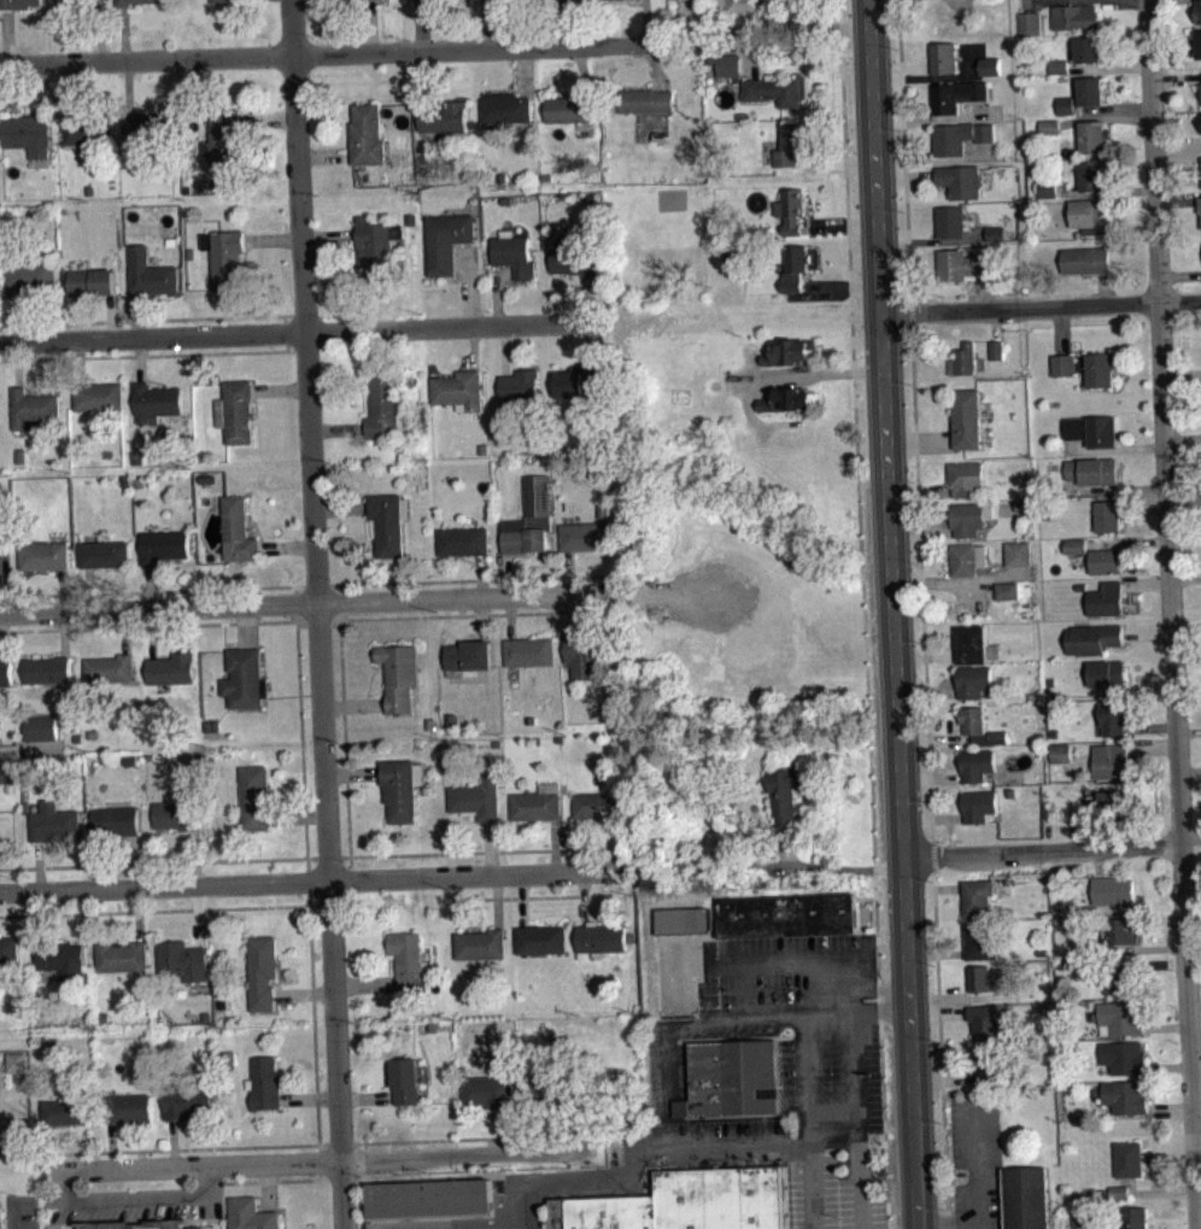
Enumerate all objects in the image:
building: (222, 0)
road: (1038, 0)
building: (134, 1)
building: (75, 2)
building: (628, 2)
building: (684, 2)
building: (18, 4)
building: (371, 4)
building: (742, 4)
building: (493, 8)
building: (1199, 11)
building: (1074, 16)
road: (646, 21)
road: (574, 22)
building: (1030, 23)
road: (488, 24)
road: (772, 24)
road: (420, 25)
road: (371, 27)
road: (99, 30)
road: (125, 34)
road: (6, 36)
building: (1199, 41)
road: (796, 43)
building: (1089, 47)
road: (323, 54)
building: (944, 55)
building: (728, 63)
road: (655, 64)
road: (1176, 64)
building: (990, 65)
building: (1059, 65)
road: (1109, 65)
road: (581, 69)
road: (525, 71)
building: (991, 74)
building: (1059, 74)
road: (426, 77)
road: (926, 77)
road: (1176, 80)
road: (127, 87)
building: (1200, 87)
road: (41, 88)
building: (779, 88)
building: (1092, 88)
road: (69, 89)
building: (956, 95)
building: (646, 99)
building: (1066, 104)
building: (508, 105)
road: (978, 106)
road: (1113, 106)
building: (572, 107)
building: (1066, 113)
building: (444, 116)
road: (936, 117)
road: (1105, 117)
building: (1200, 118)
road: (269, 119)
building: (147, 125)
building: (1048, 127)
building: (86, 130)
building: (28, 133)
building: (367, 134)
building: (1050, 134)
building: (960, 135)
building: (1092, 136)
building: (225, 140)
building: (790, 141)
road: (1177, 144)
road: (903, 150)
road: (326, 154)
road: (1176, 154)
road: (938, 158)
road: (838, 162)
building: (1094, 175)
road: (906, 176)
building: (960, 180)
building: (1047, 188)
road: (1105, 192)
road: (1173, 197)
building: (1200, 204)
building: (793, 209)
building: (1090, 216)
building: (950, 220)
road: (838, 224)
road: (1132, 227)
building: (995, 233)
road: (330, 236)
road: (274, 238)
building: (447, 240)
road: (932, 241)
building: (376, 247)
building: (514, 252)
building: (727, 253)
building: (225, 256)
building: (1086, 258)
building: (574, 261)
building: (965, 263)
building: (795, 267)
building: (150, 273)
building: (28, 274)
road: (1179, 275)
building: (93, 281)
road: (470, 285)
road: (840, 285)
road: (1105, 287)
road: (850, 288)
road: (497, 292)
road: (986, 292)
road: (594, 299)
road: (1041, 306)
road: (910, 314)
road: (135, 315)
road: (109, 316)
road: (153, 318)
road: (16, 320)
road: (996, 324)
road: (1062, 329)
road: (286, 332)
road: (301, 332)
road: (588, 344)
road: (474, 347)
building: (997, 349)
road: (504, 350)
building: (789, 350)
road: (153, 355)
building: (998, 358)
road: (141, 359)
building: (963, 359)
road: (80, 361)
road: (17, 363)
building: (1086, 367)
road: (1182, 375)
road: (774, 376)
building: (576, 382)
building: (519, 387)
building: (459, 390)
road: (280, 391)
building: (98, 396)
building: (787, 399)
building: (157, 400)
building: (385, 406)
building: (33, 408)
building: (236, 411)
building: (968, 416)
road: (338, 428)
building: (1094, 429)
road: (1183, 439)
road: (921, 440)
road: (1119, 450)
road: (1183, 452)
road: (916, 455)
building: (1095, 469)
building: (967, 478)
road: (1126, 487)
road: (921, 492)
road: (1184, 497)
road: (1147, 498)
building: (1024, 503)
road: (341, 507)
building: (1109, 515)
building: (968, 517)
building: (529, 520)
building: (388, 521)
building: (238, 528)
road: (924, 532)
building: (586, 534)
building: (4, 536)
building: (464, 540)
road: (1127, 542)
building: (164, 545)
road: (287, 545)
building: (1076, 545)
building: (1018, 552)
building: (104, 554)
building: (1077, 554)
building: (43, 555)
building: (968, 558)
building: (1107, 560)
road: (568, 570)
road: (481, 574)
road: (508, 575)
road: (1185, 579)
road: (2, 580)
road: (938, 581)
road: (1147, 584)
road: (150, 585)
road: (309, 585)
road: (89, 589)
building: (1008, 589)
road: (61, 590)
building: (1008, 598)
building: (1108, 598)
road: (300, 601)
road: (292, 610)
road: (318, 614)
road: (476, 614)
road: (570, 614)
road: (894, 614)
road: (1171, 614)
road: (511, 615)
road: (482, 616)
road: (288, 620)
road: (317, 622)
road: (1187, 625)
road: (246, 626)
road: (125, 630)
road: (152, 631)
road: (1148, 631)
road: (63, 633)
road: (2, 636)
building: (1096, 637)
building: (971, 643)
building: (529, 649)
building: (470, 652)
building: (585, 652)
road: (926, 656)
road: (1187, 656)
building: (109, 667)
building: (171, 667)
building: (47, 668)
building: (5, 672)
building: (400, 673)
building: (1109, 675)
building: (245, 678)
building: (973, 680)
road: (1150, 686)
road: (928, 689)
road: (355, 704)
road: (926, 710)
building: (1113, 718)
building: (979, 725)
road: (344, 726)
building: (41, 727)
road: (1149, 728)
road: (1188, 731)
road: (937, 739)
road: (1, 749)
road: (1153, 749)
building: (1061, 751)
building: (1111, 761)
building: (976, 763)
road: (1189, 771)
road: (352, 772)
building: (6, 773)
road: (931, 778)
building: (7, 782)
building: (402, 788)
building: (257, 796)
building: (478, 796)
building: (785, 796)
building: (538, 801)
building: (599, 801)
building: (979, 804)
building: (1113, 804)
building: (177, 812)
road: (299, 815)
road: (935, 818)
building: (116, 819)
building: (53, 820)
road: (619, 841)
road: (555, 844)
road: (490, 845)
road: (787, 847)
road: (1053, 848)
road: (484, 850)
road: (932, 853)
road: (194, 856)
road: (134, 860)
road: (153, 862)
road: (40, 865)
road: (350, 866)
road: (832, 867)
road: (309, 879)
road: (935, 889)
road: (307, 890)
building: (1114, 890)
road: (520, 896)
road: (585, 896)
building: (978, 896)
road: (523, 897)
road: (497, 900)
road: (283, 903)
road: (875, 903)
road: (139, 912)
road: (198, 914)
building: (786, 914)
road: (42, 915)
building: (684, 919)
road: (1193, 921)
building: (1124, 930)
building: (541, 937)
building: (602, 937)
building: (482, 942)
building: (979, 942)
road: (1153, 947)
building: (10, 948)
road: (937, 954)
building: (122, 955)
building: (63, 958)
building: (408, 958)
road: (1193, 958)
building: (183, 959)
parking lot: (787, 962)
road: (1161, 962)
building: (263, 971)
building: (990, 976)
building: (1121, 977)
road: (365, 983)
road: (305, 990)
road: (956, 996)
road: (808, 1002)
road: (1194, 1002)
road: (938, 1013)
building: (1120, 1018)
building: (985, 1020)
road: (851, 1023)
road: (1165, 1026)
road: (941, 1048)
building: (1124, 1057)
building: (986, 1063)
road: (1167, 1065)
building: (18, 1070)
road: (1195, 1072)
parking lot: (833, 1075)
building: (734, 1076)
road: (942, 1077)
building: (408, 1079)
building: (265, 1082)
building: (549, 1087)
building: (488, 1089)
parking lot: (660, 1092)
building: (1125, 1095)
road: (310, 1096)
road: (367, 1096)
building: (186, 1099)
road: (1168, 1105)
building: (128, 1107)
road: (670, 1108)
building: (68, 1111)
road: (808, 1116)
road: (566, 1126)
road: (504, 1129)
road: (945, 1135)
road: (1196, 1140)
road: (172, 1142)
road: (277, 1145)
road: (111, 1146)
road: (49, 1147)
road: (640, 1157)
building: (1131, 1158)
road: (976, 1160)
road: (315, 1161)
parking lot: (977, 1163)
road: (273, 1180)
road: (1197, 1182)
road: (1161, 1189)
building: (1119, 1190)
building: (429, 1198)
parking lot: (830, 1198)
building: (1025, 1198)
building: (1119, 1200)
building: (684, 1202)
building: (251, 1213)
building: (1, 1215)
building: (1080, 1217)
building: (1135, 1217)
road: (953, 1222)
parking lot: (433, 1223)
building: (136, 1224)
road: (441, 1225)
building: (198, 1227)

